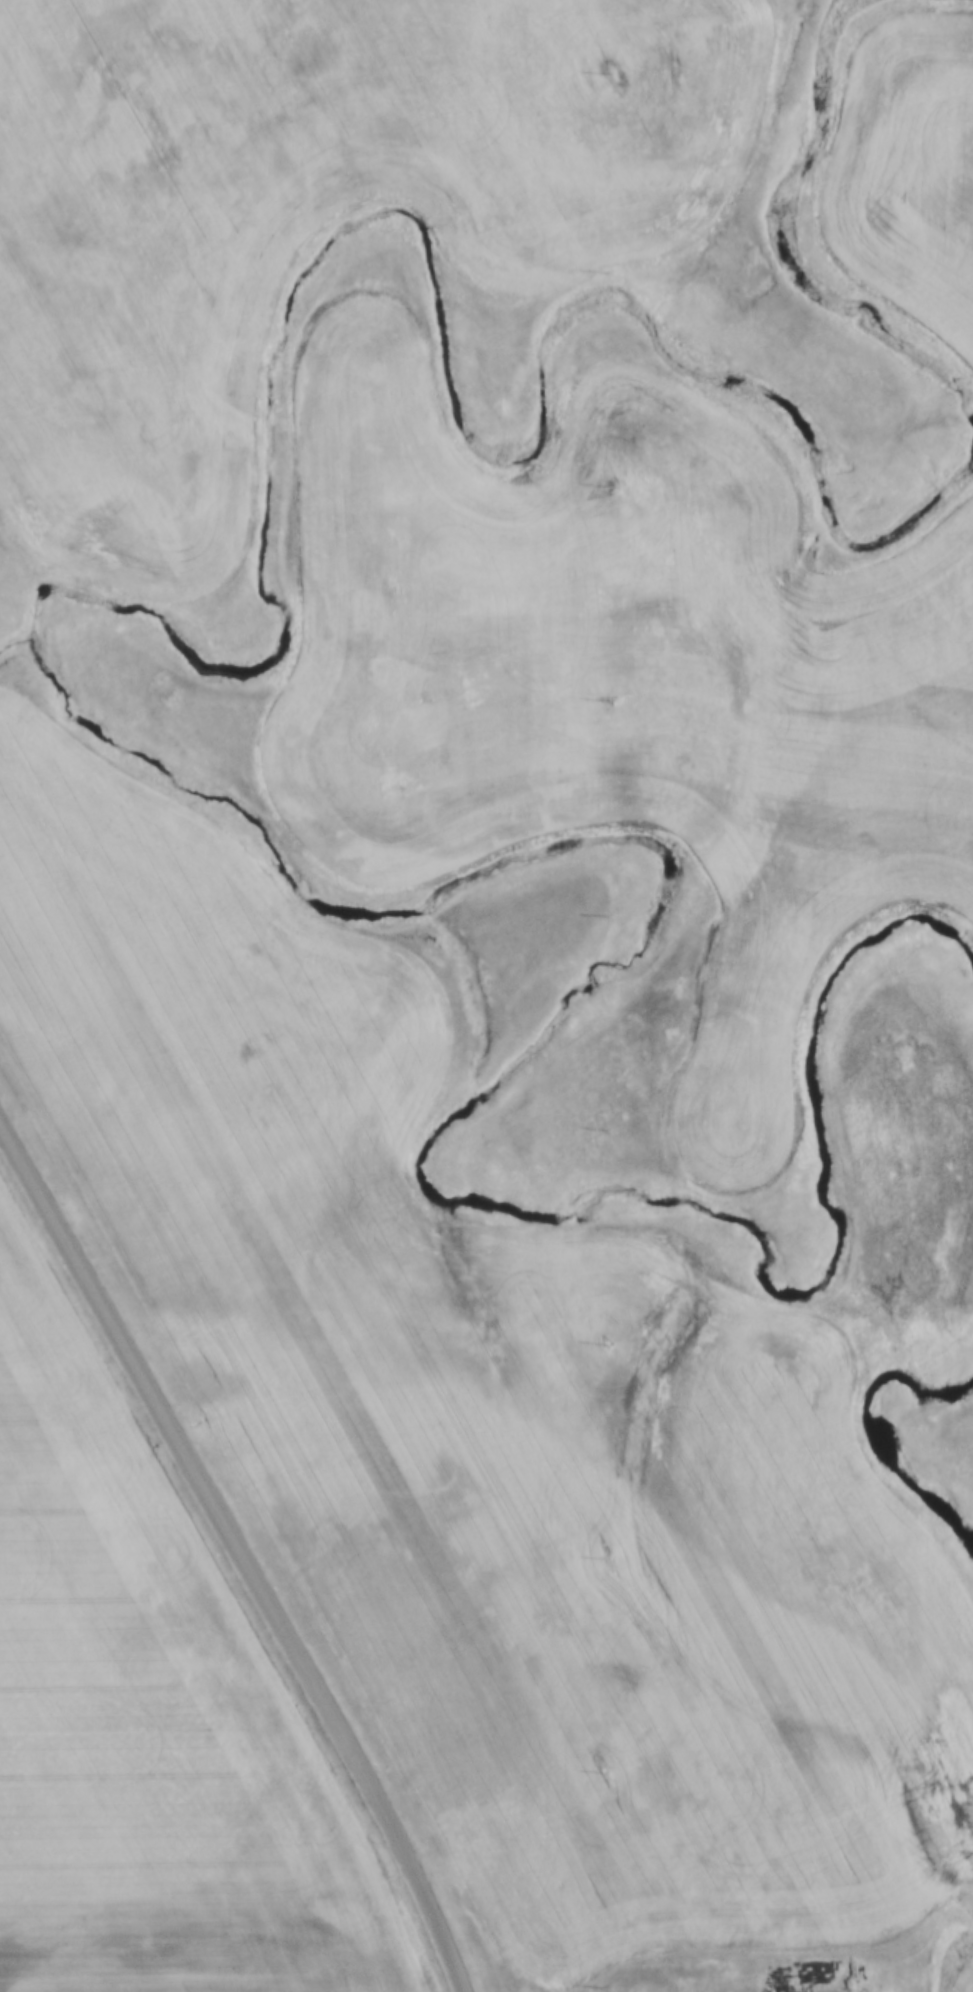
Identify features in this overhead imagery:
road: (240, 1551)

